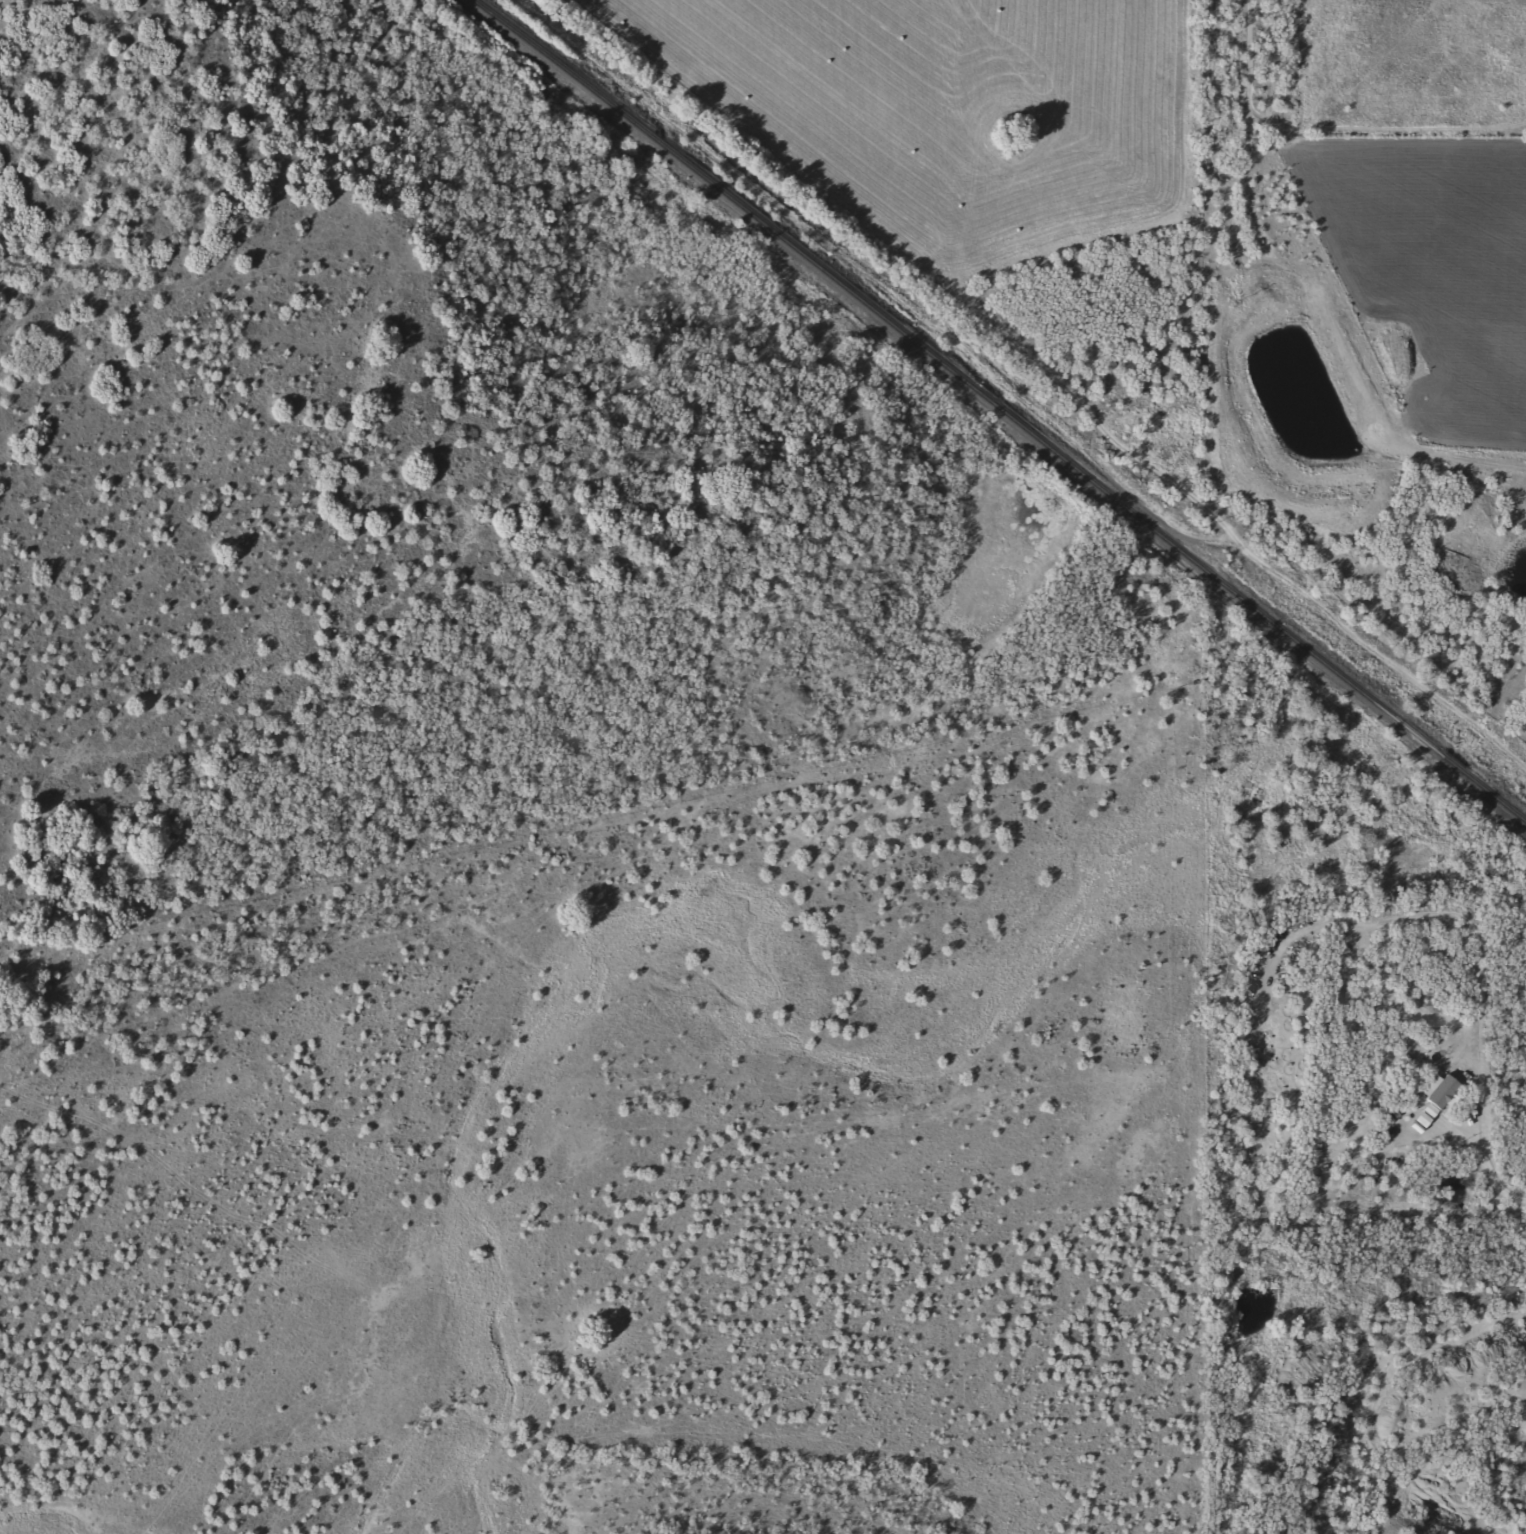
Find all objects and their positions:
railway: (583, 90)
railway: (1113, 504)
road: (1236, 536)
building: (1439, 1094)

